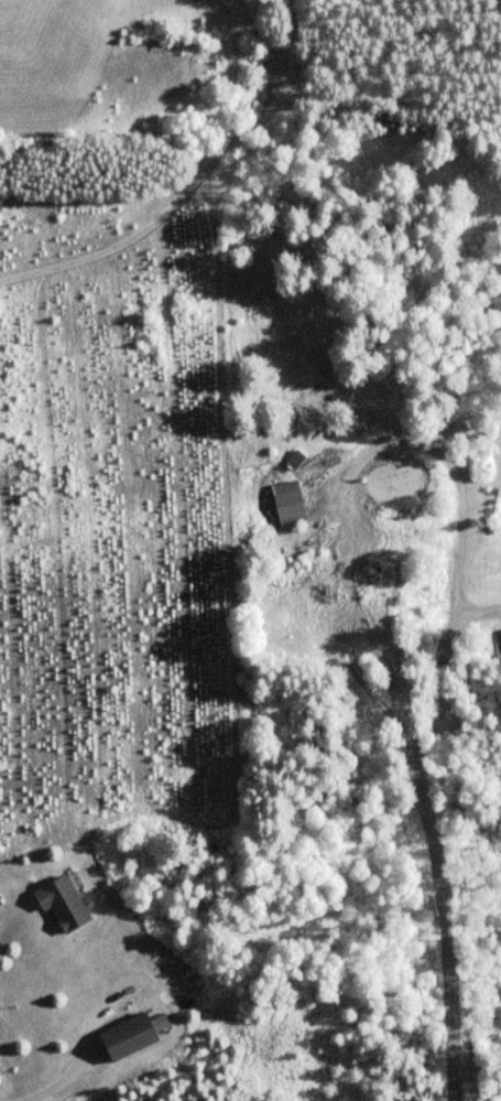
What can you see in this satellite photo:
building: (294, 460)
building: (286, 504)
building: (500, 630)
road: (423, 795)
building: (59, 904)
building: (127, 1037)

